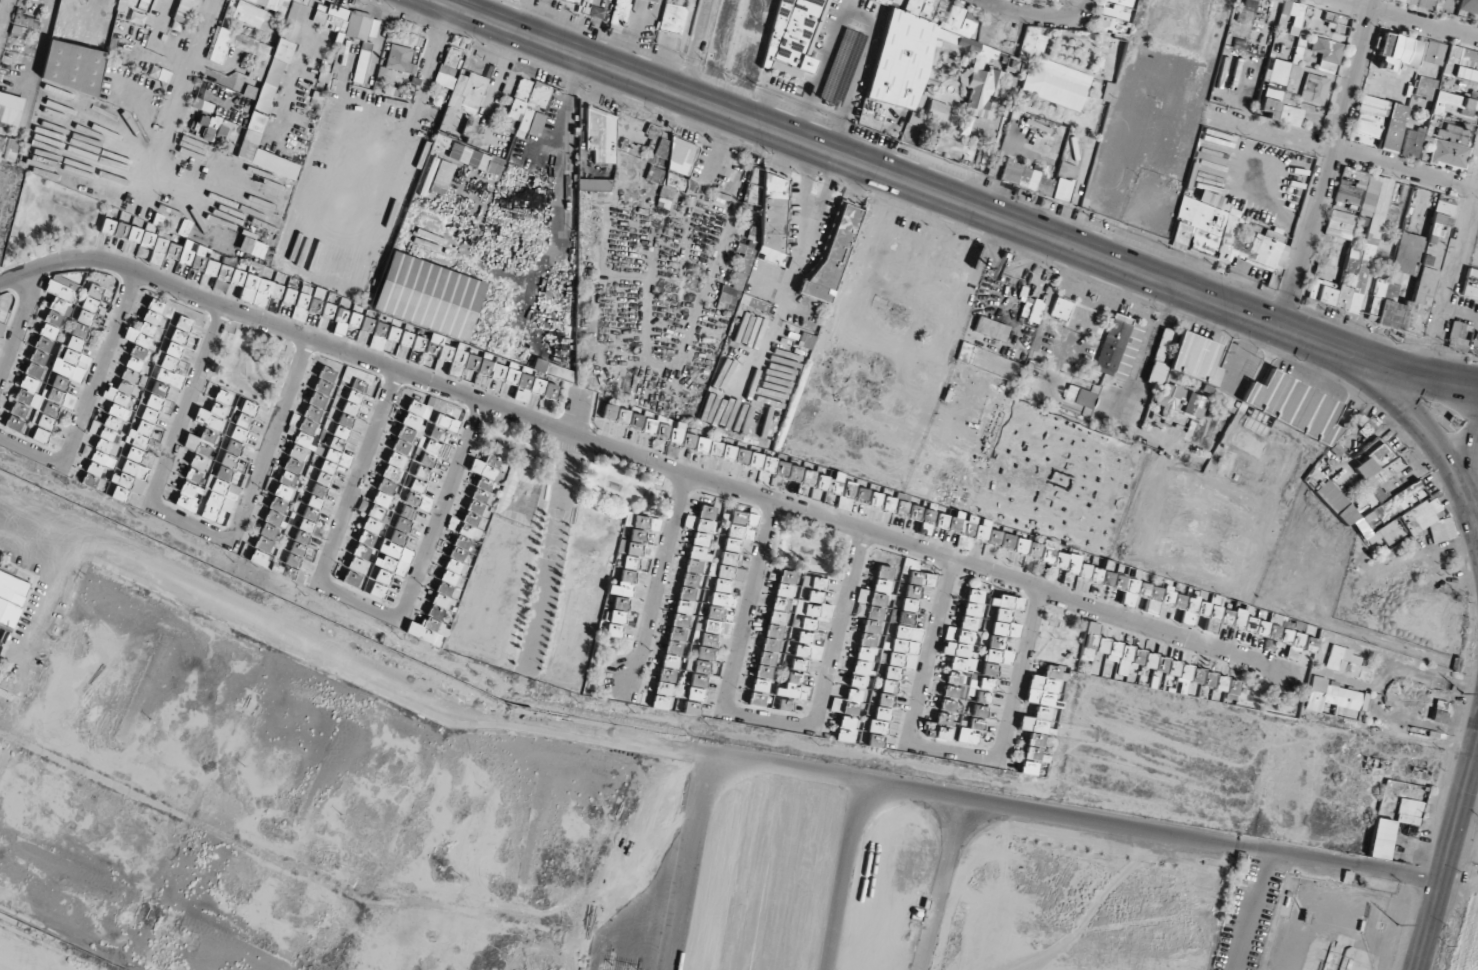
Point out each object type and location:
crop: (1462, 930)

